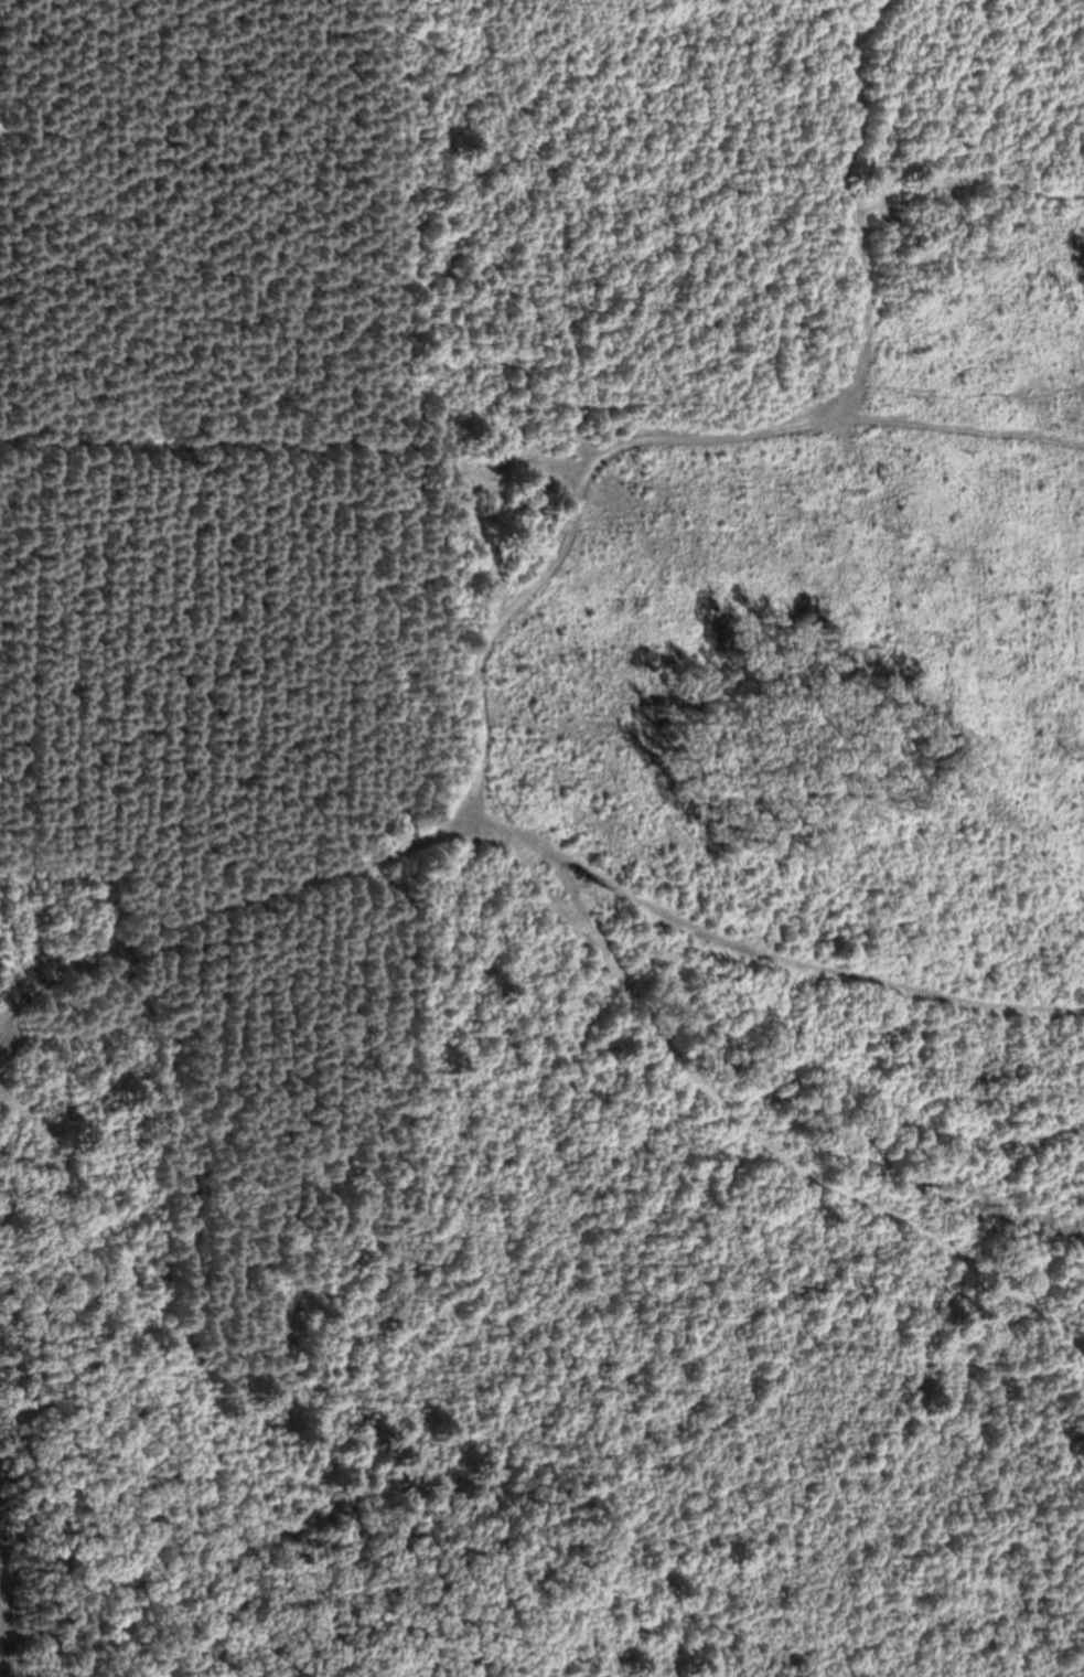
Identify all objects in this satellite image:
road: (247, 891)
road: (1, 1652)

